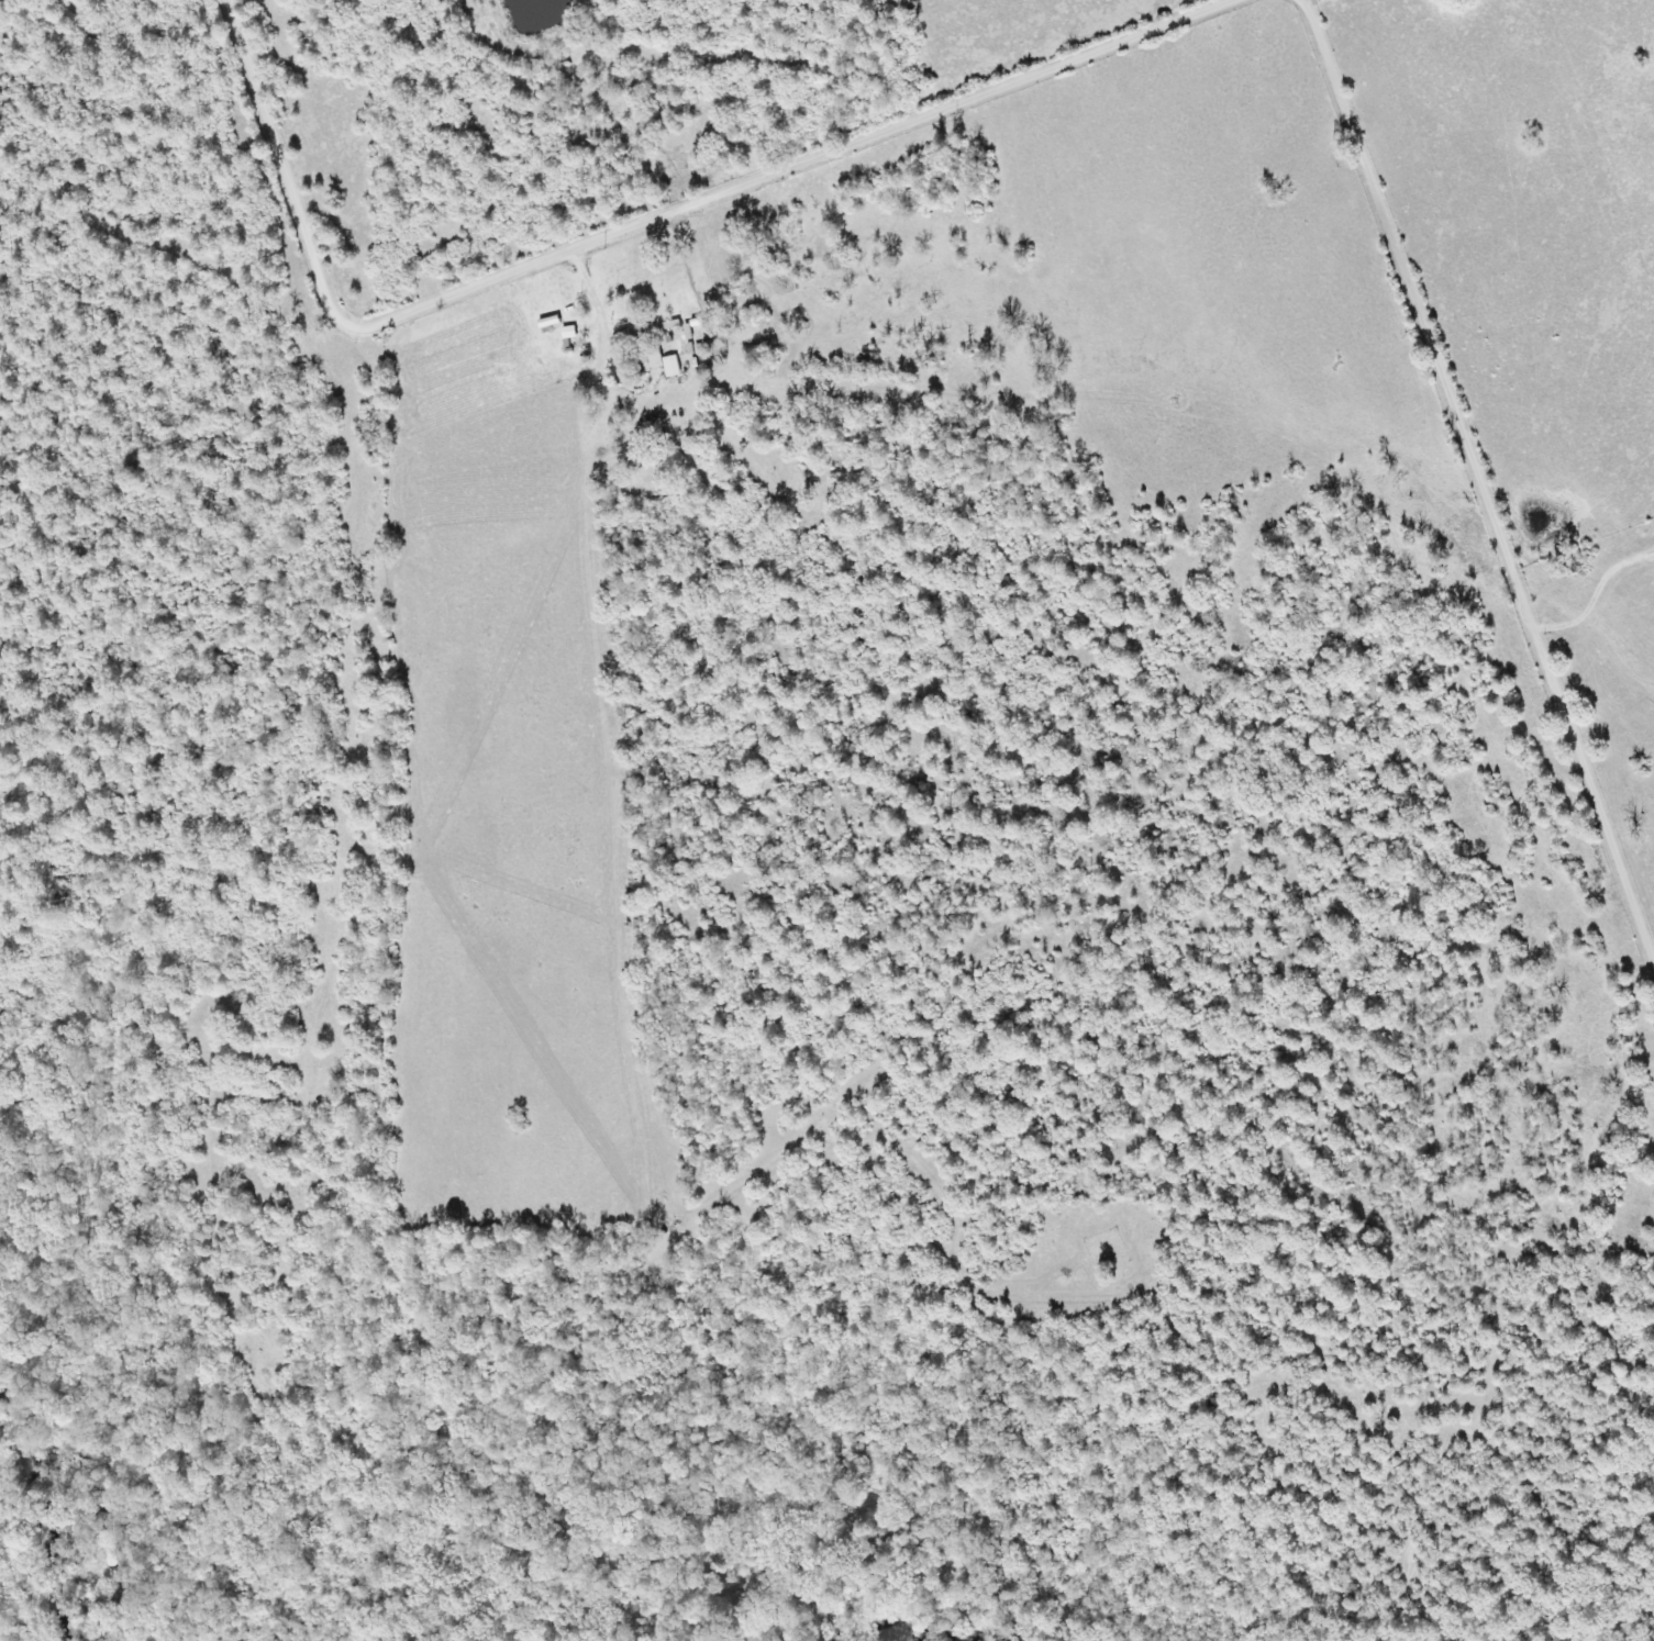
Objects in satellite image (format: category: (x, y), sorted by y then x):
road: (632, 226)
building: (675, 328)
building: (634, 331)
building: (653, 357)
building: (628, 365)
road: (1483, 471)

